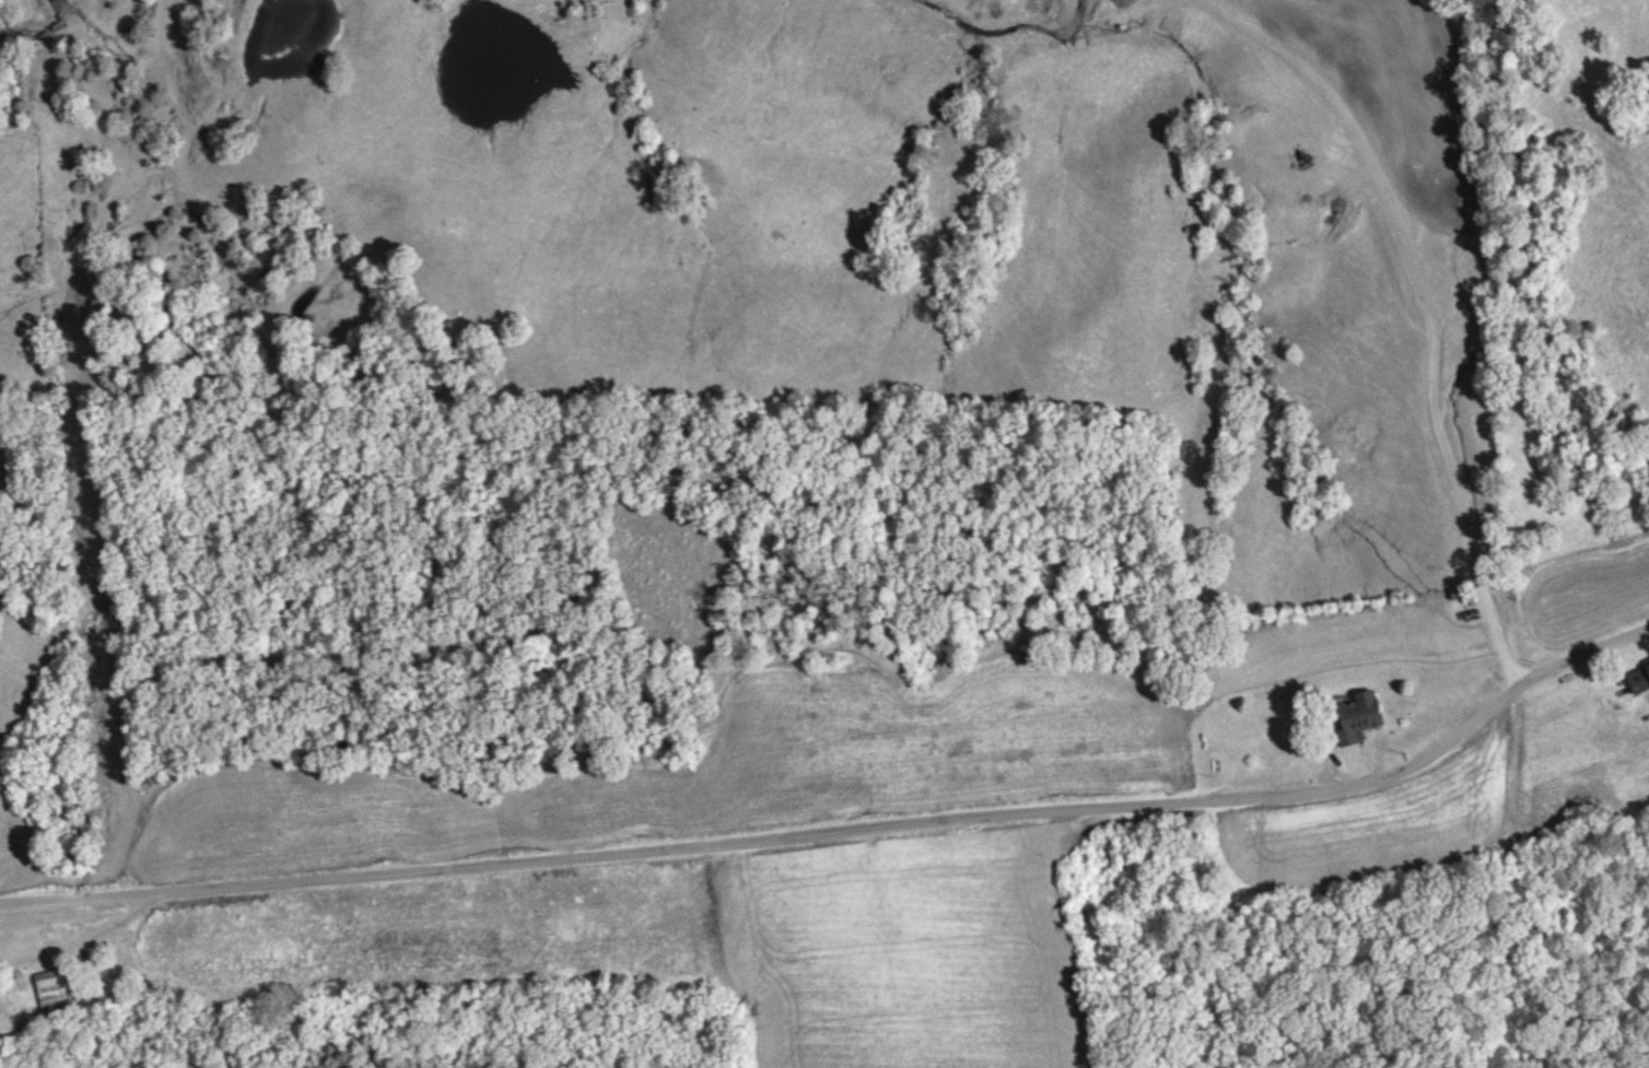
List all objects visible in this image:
road: (1427, 306)
building: (1639, 677)
road: (1611, 681)
building: (1358, 713)
road: (1355, 764)
road: (845, 825)
building: (51, 986)

